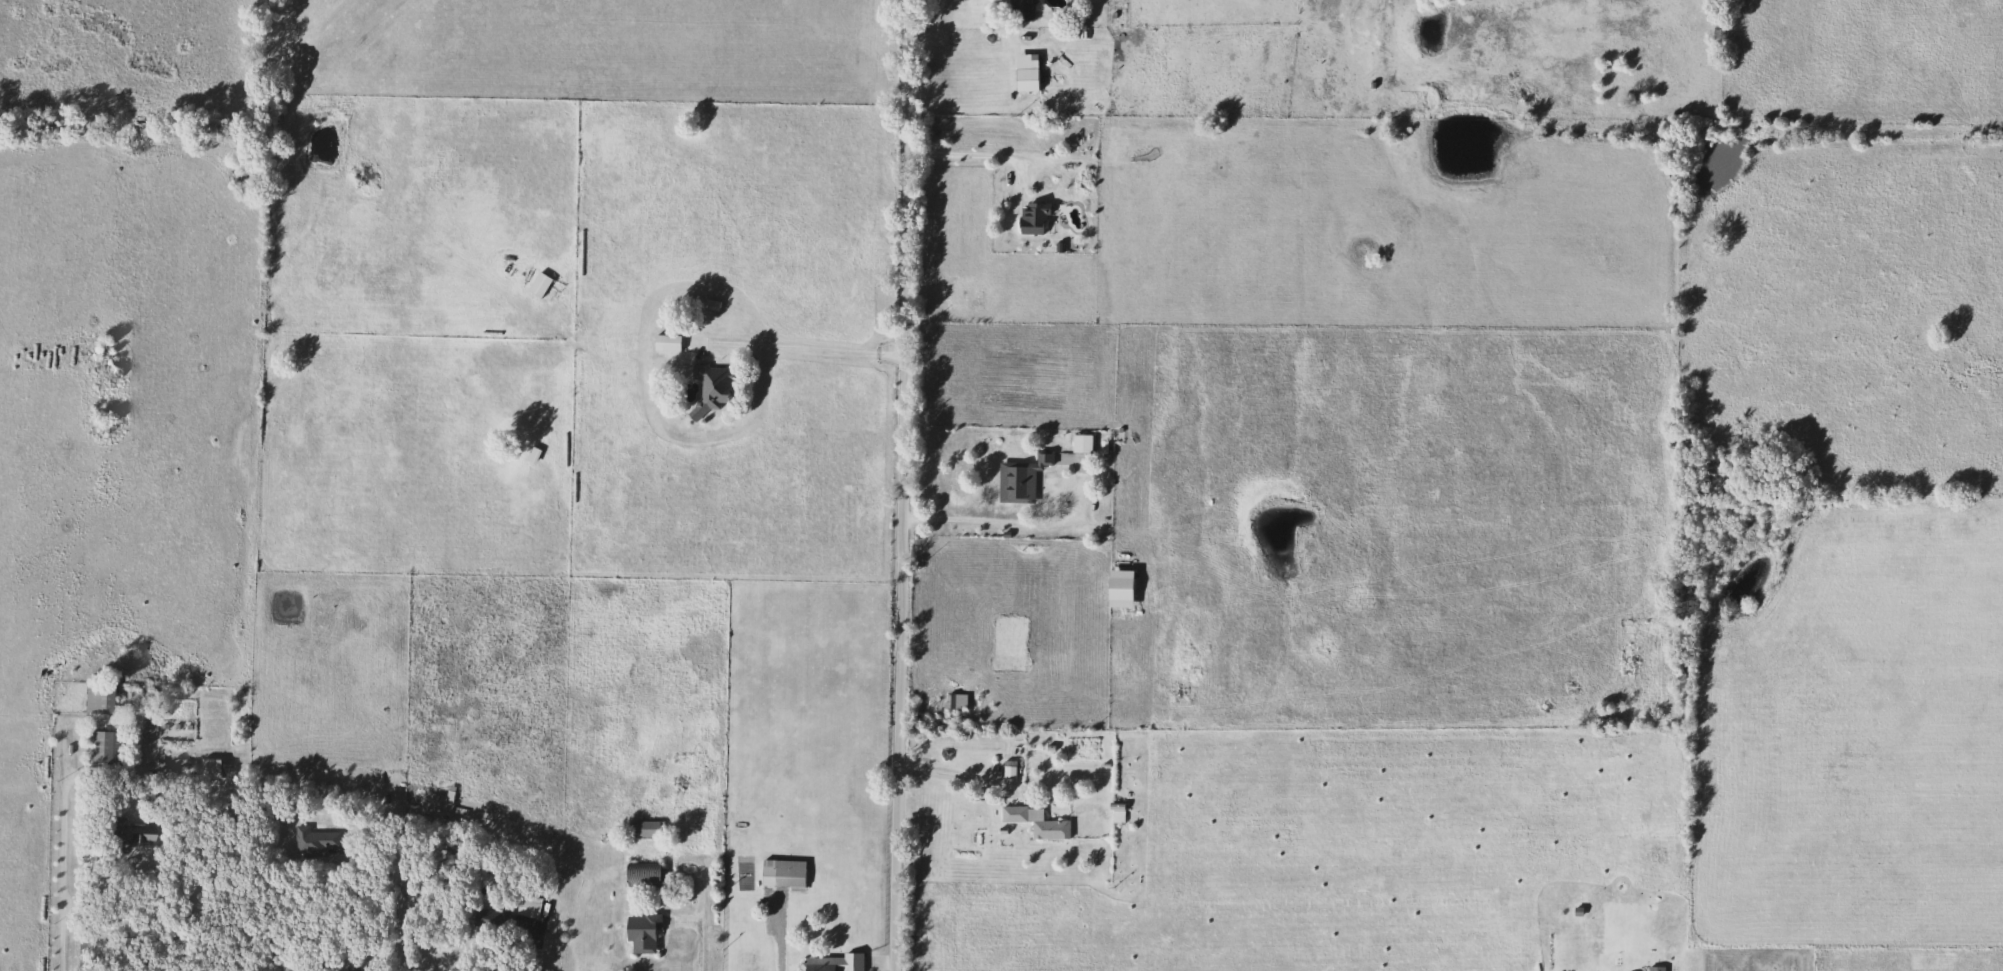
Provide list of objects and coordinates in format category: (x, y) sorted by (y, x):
road: (963, 154)
building: (1032, 217)
building: (536, 284)
building: (663, 342)
road: (815, 351)
building: (709, 388)
building: (1079, 444)
building: (1017, 479)
road: (905, 485)
road: (1003, 517)
building: (93, 697)
building: (952, 701)
building: (144, 726)
building: (100, 746)
building: (203, 766)
building: (1006, 770)
road: (950, 779)
building: (1034, 822)
building: (640, 828)
building: (310, 839)
road: (68, 852)
building: (779, 873)
road: (382, 904)
building: (526, 905)
building: (487, 918)
building: (639, 931)
road: (778, 936)
road: (698, 947)
road: (511, 951)
building: (830, 962)
building: (1654, 968)

